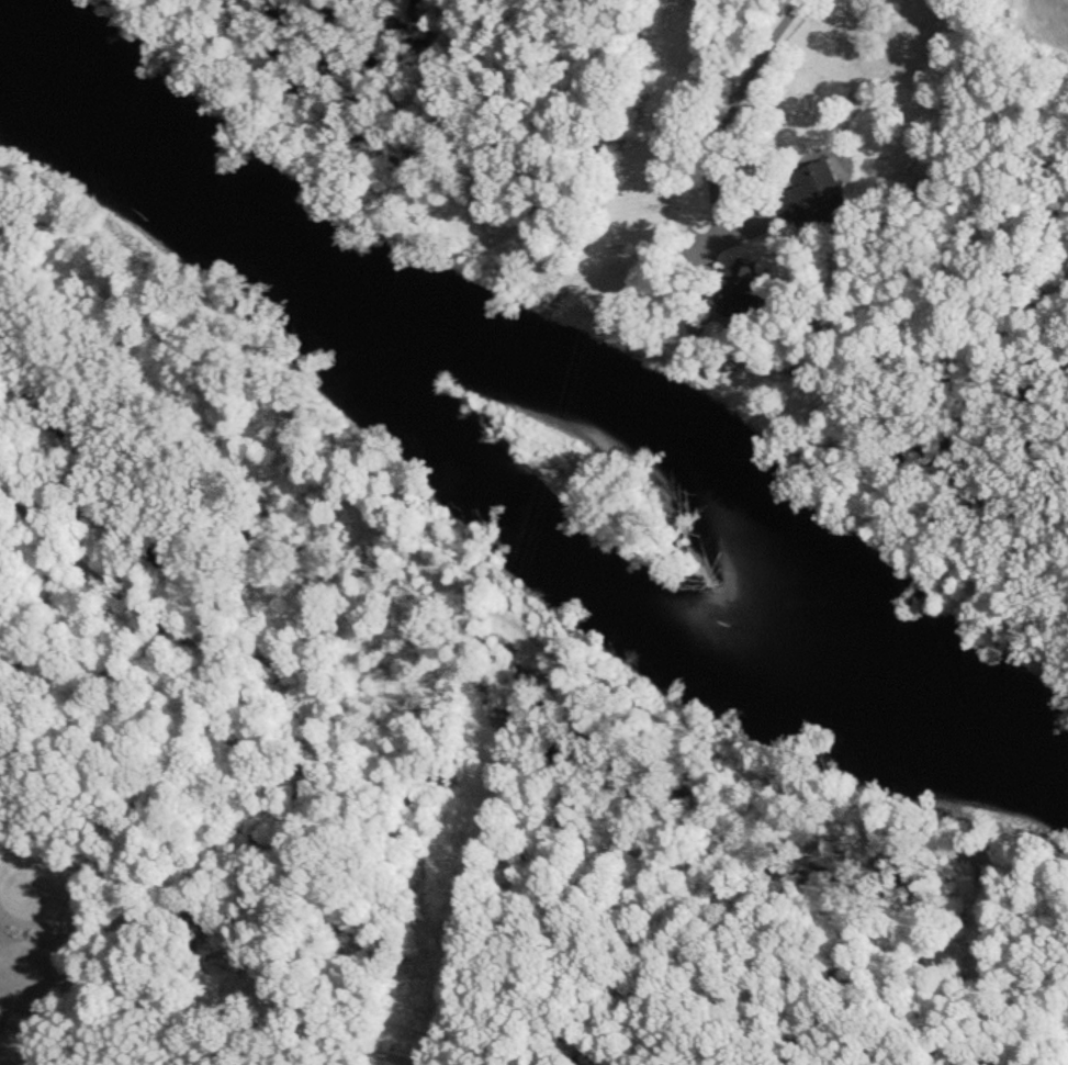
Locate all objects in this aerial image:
road: (726, 119)
river: (546, 372)
road: (241, 991)

